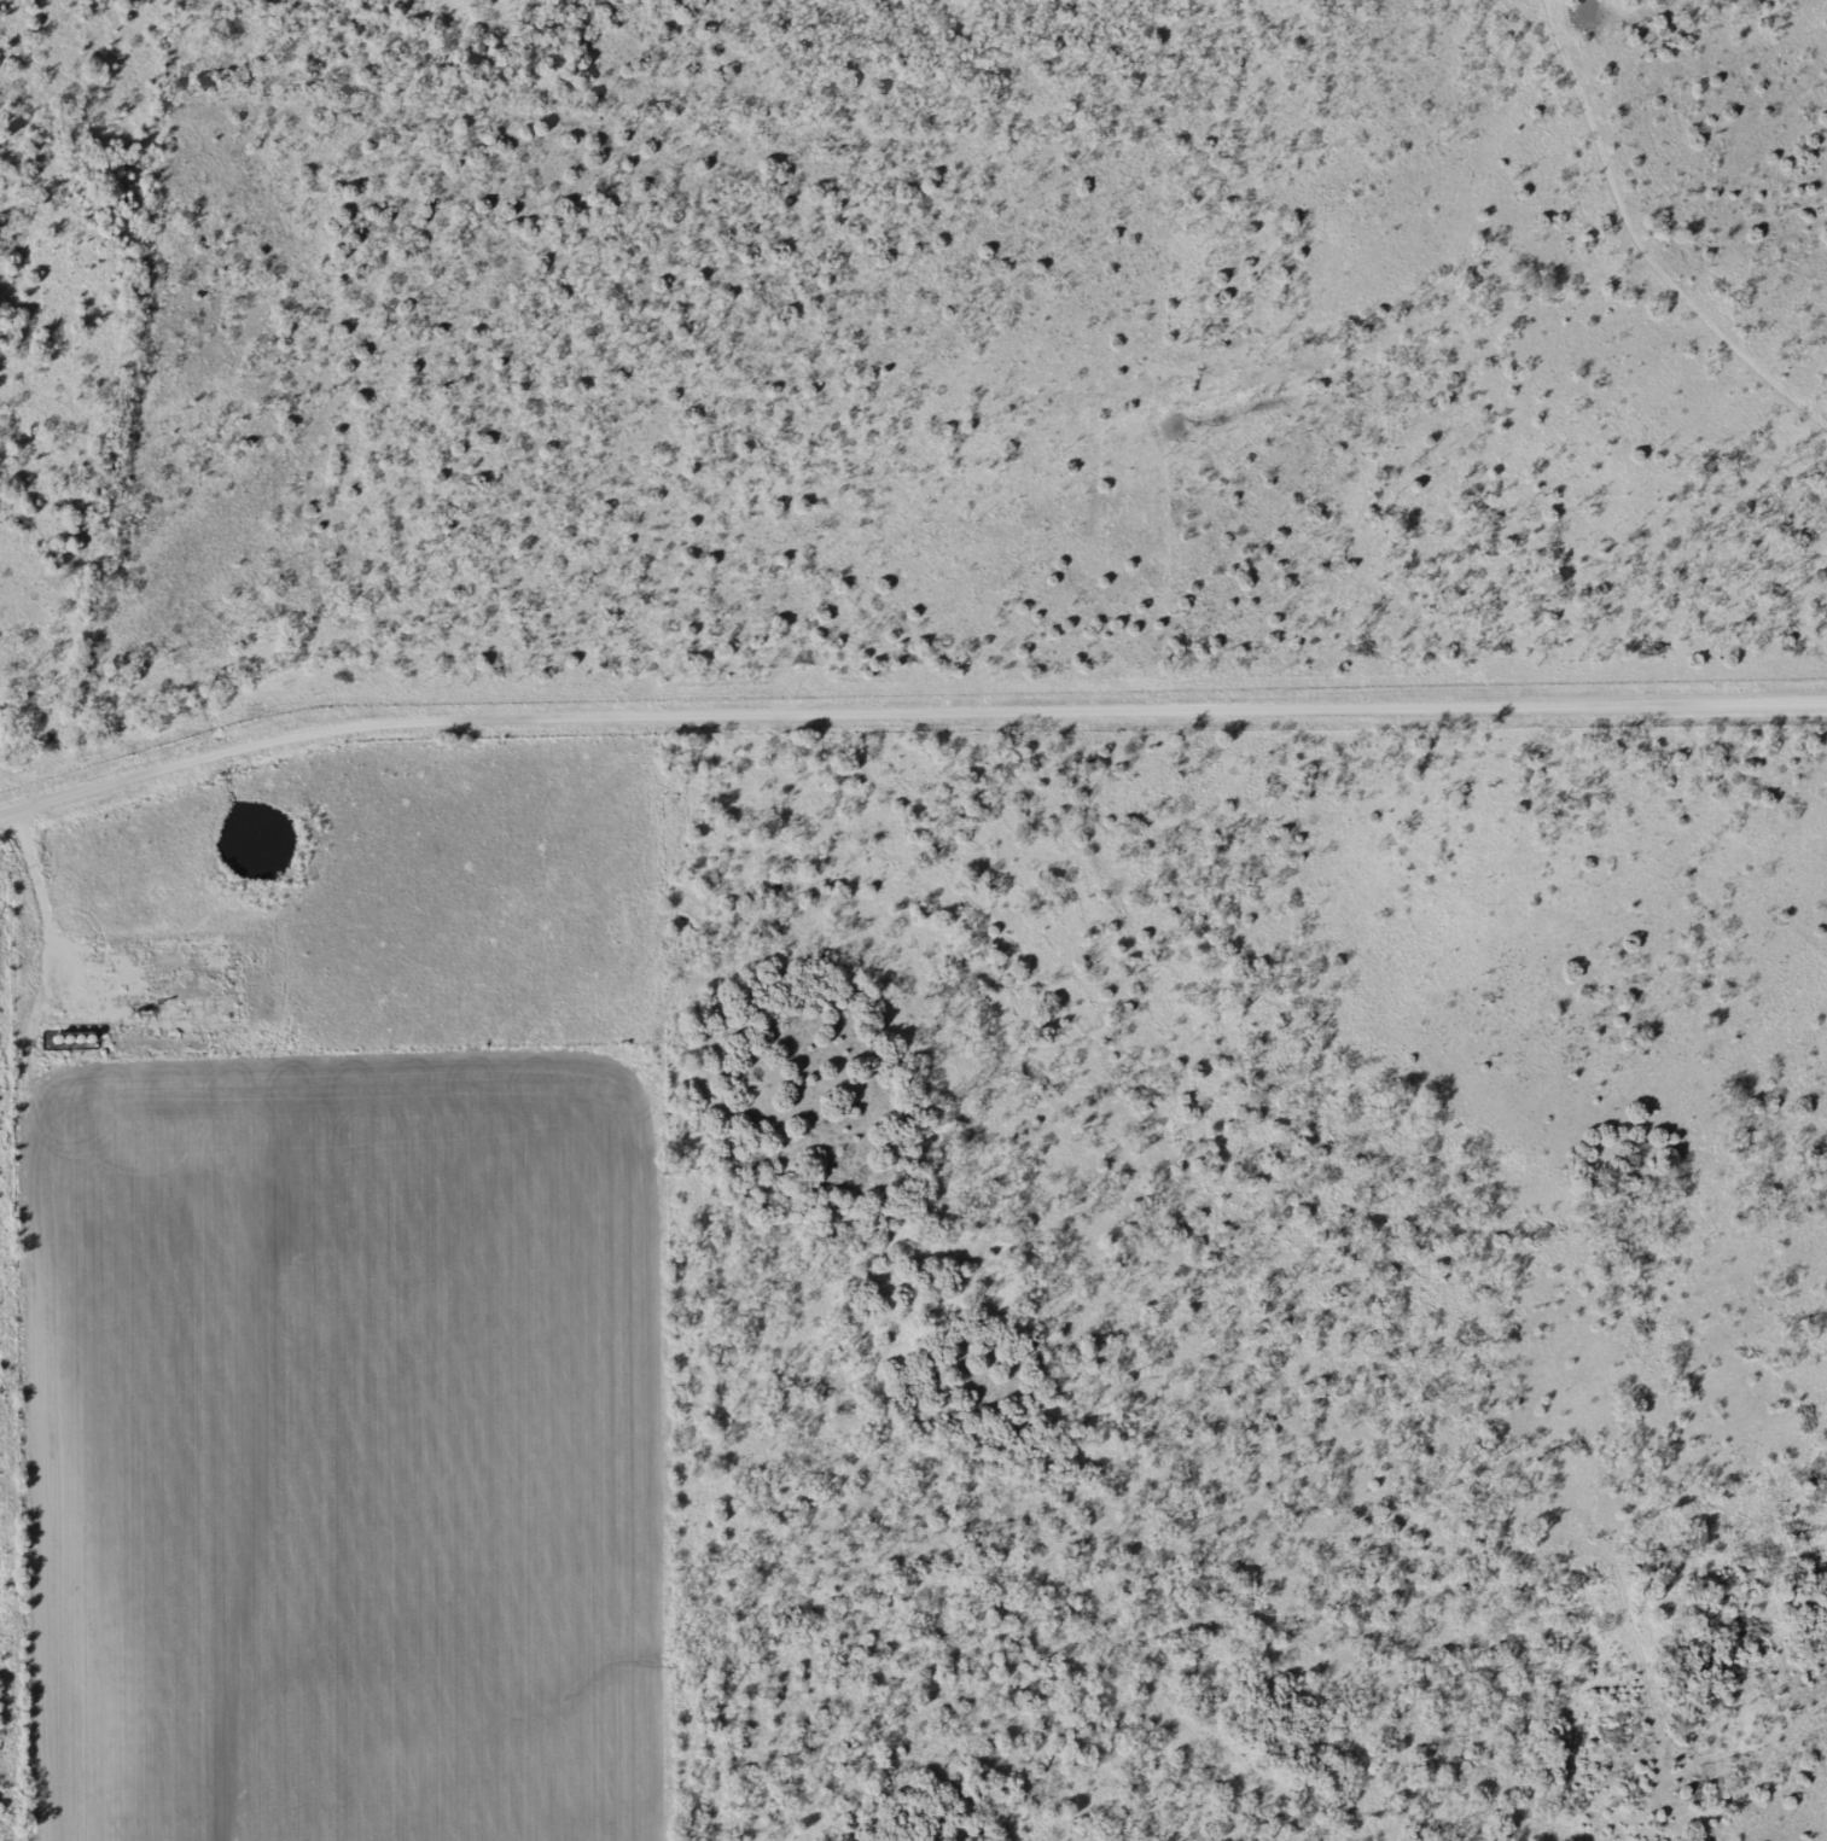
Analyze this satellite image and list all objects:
railway: (912, 473)
road: (907, 706)

